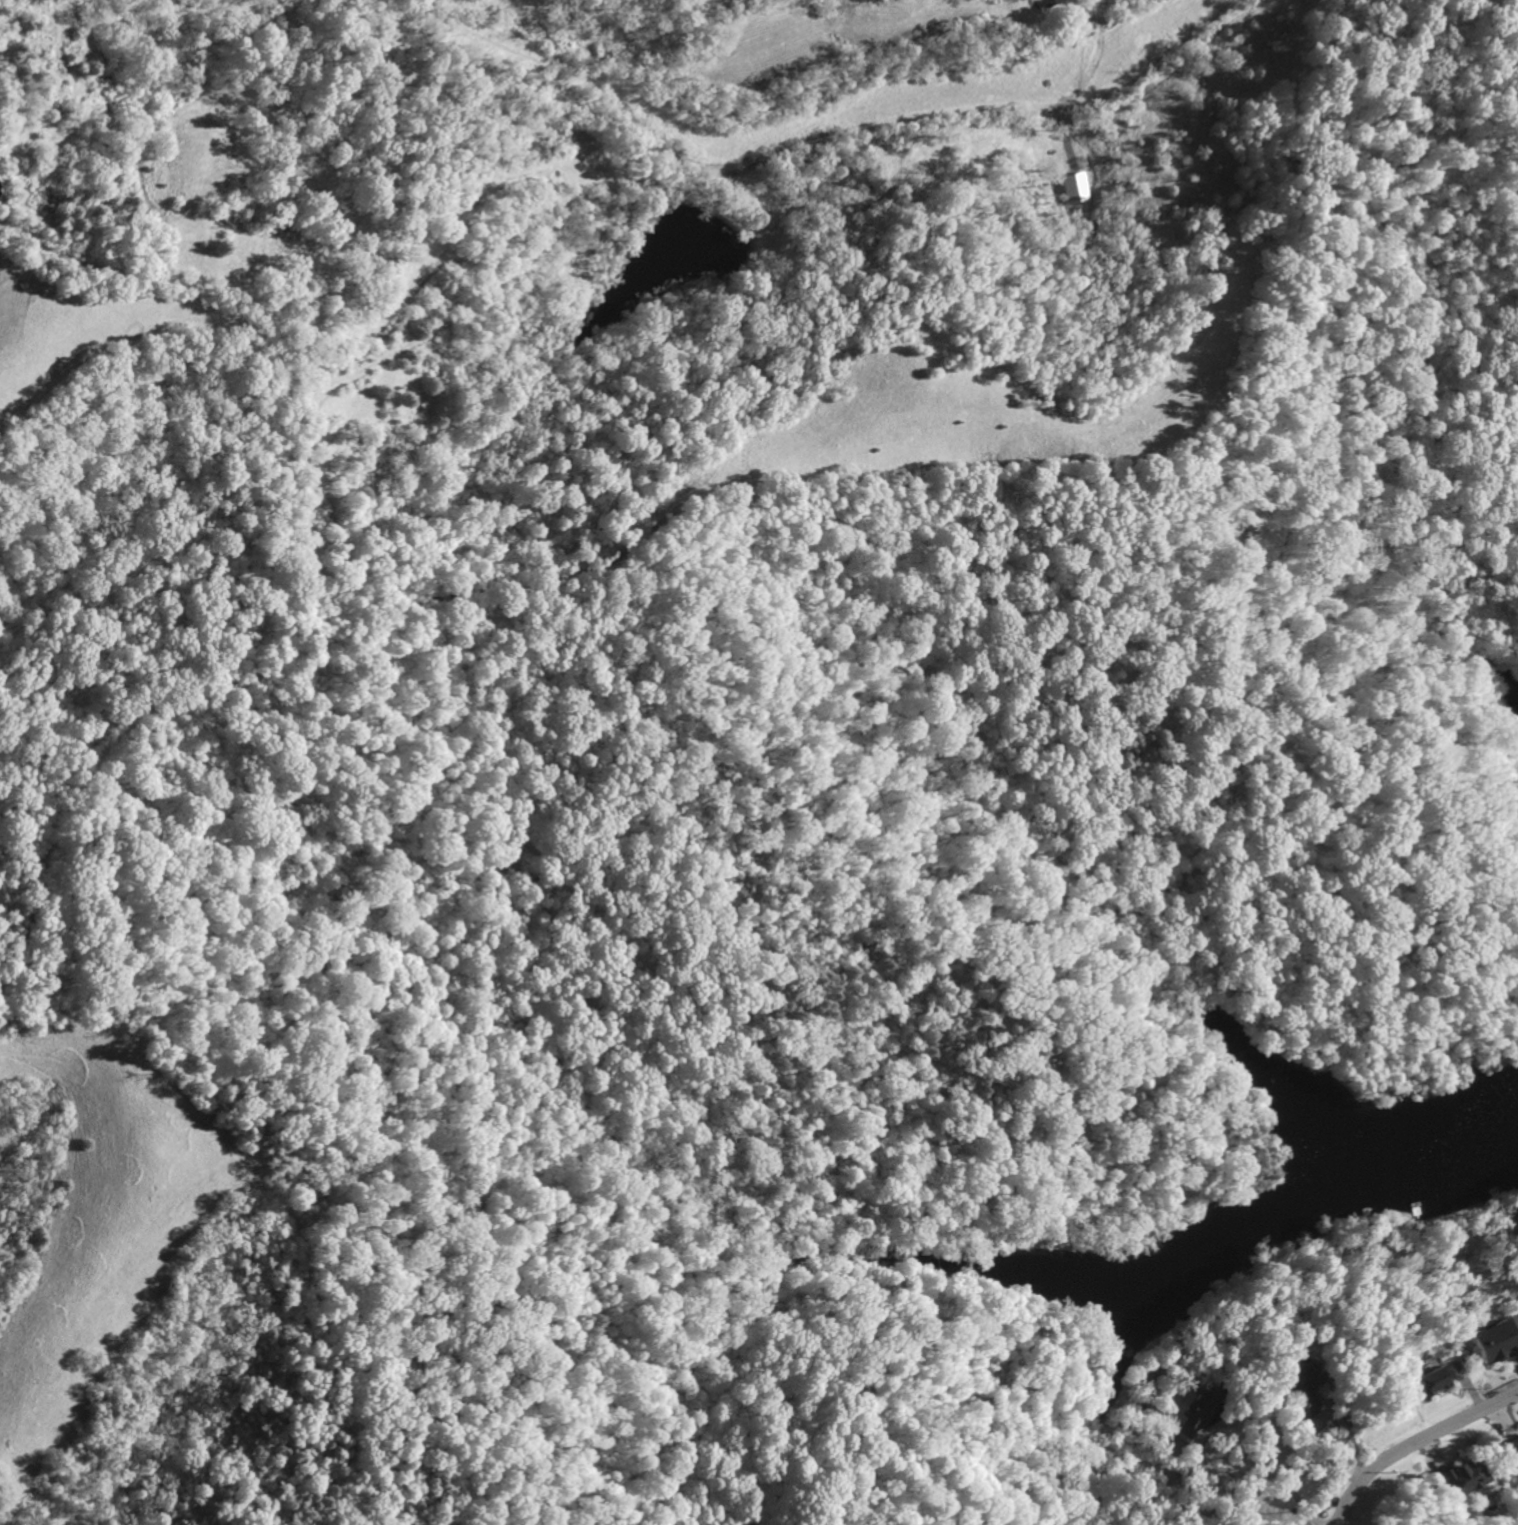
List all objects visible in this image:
building: (1046, 3)
building: (1073, 188)
building: (1493, 1342)
building: (1426, 1381)
building: (1297, 1391)
building: (1191, 1415)
road: (1279, 1440)
road: (1412, 1441)
building: (1511, 1453)
building: (1455, 1478)

